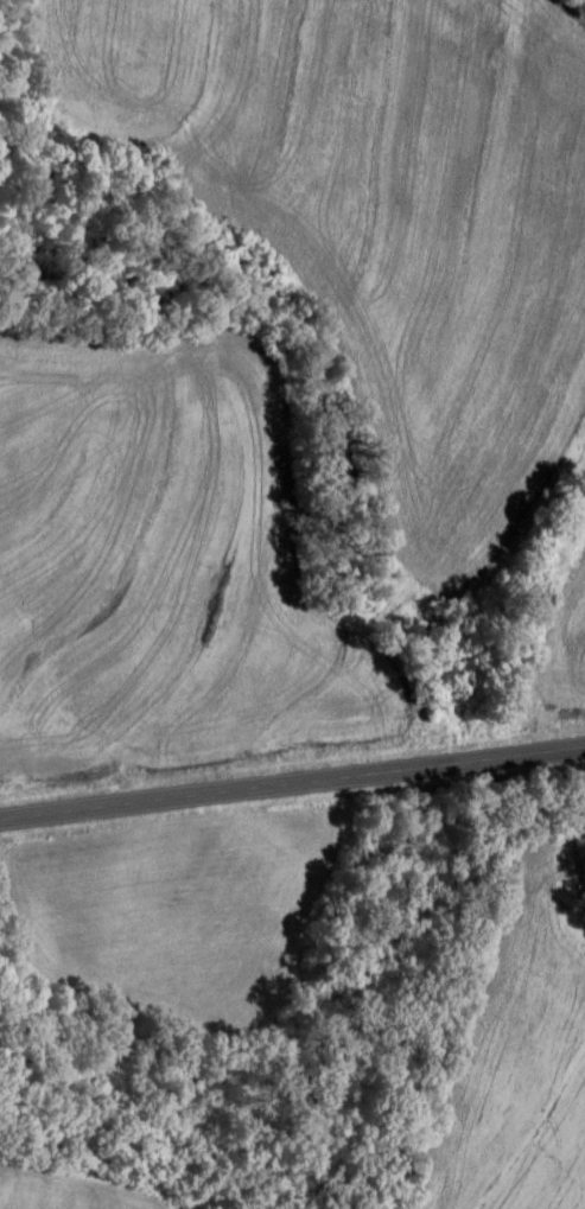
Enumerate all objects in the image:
road: (209, 387)
road: (291, 755)

